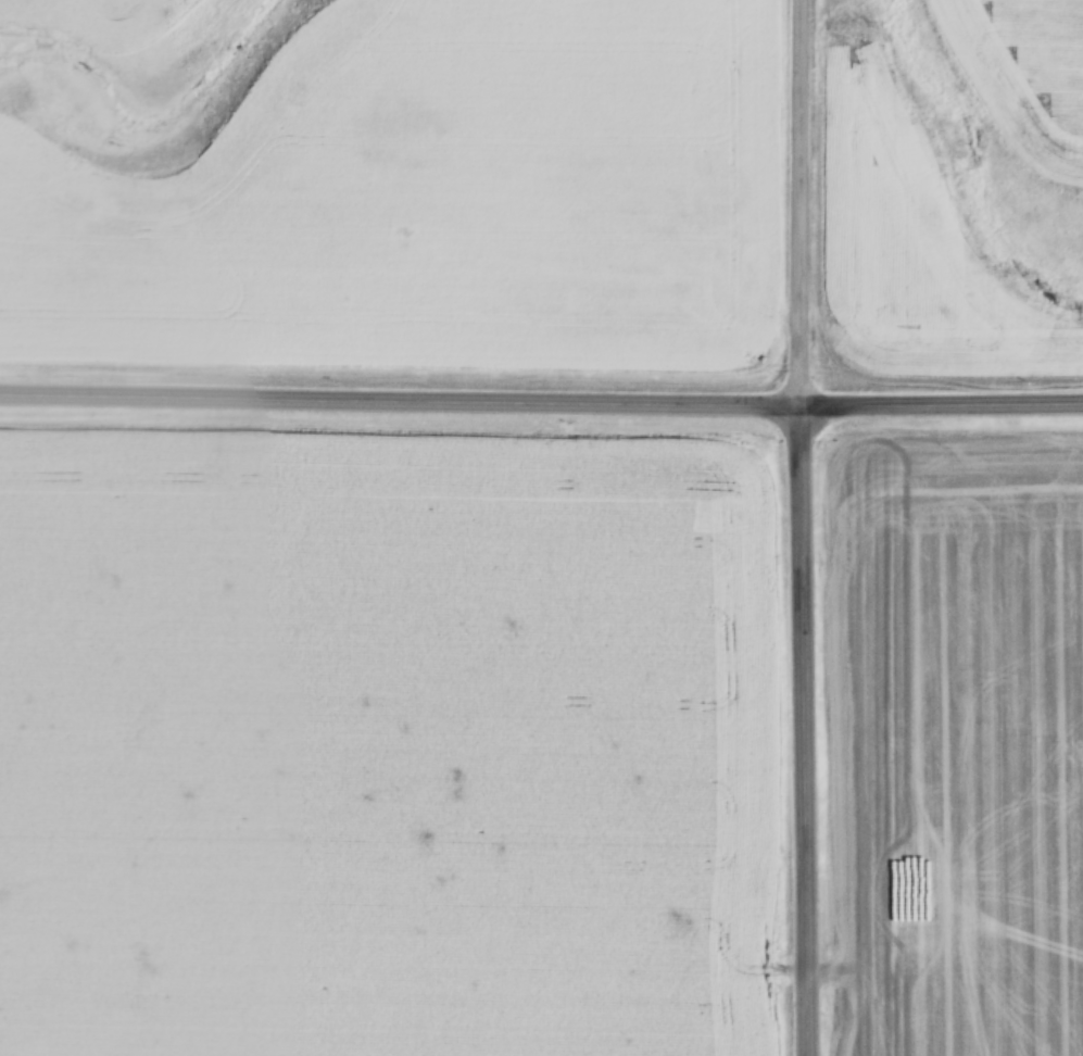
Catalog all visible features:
road: (808, 208)
road: (404, 408)
road: (945, 413)
road: (811, 736)

